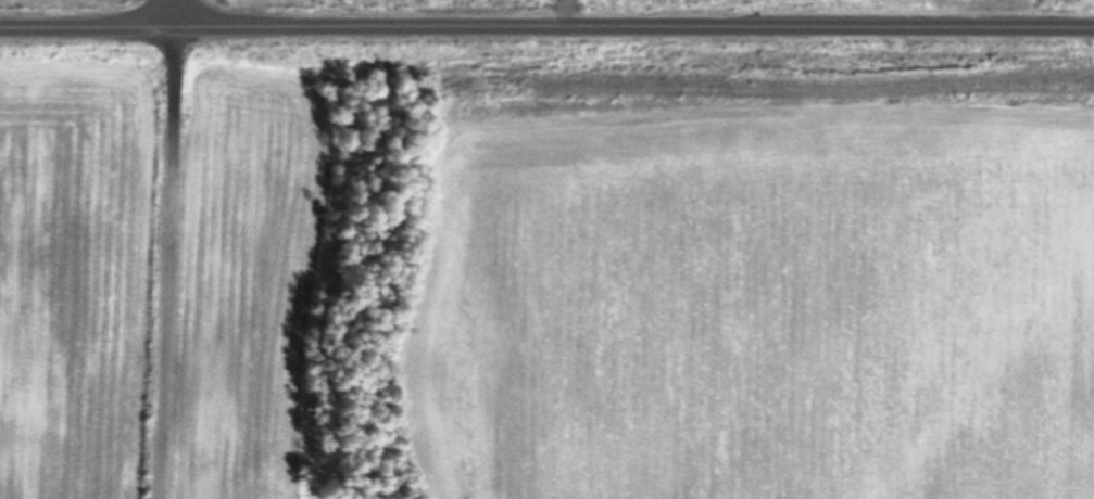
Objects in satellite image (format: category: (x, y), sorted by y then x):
quarry: (187, 5)
crop: (65, 7)
road: (166, 13)
quarry: (168, 26)
road: (546, 26)
quarry: (619, 251)
crop: (71, 260)

